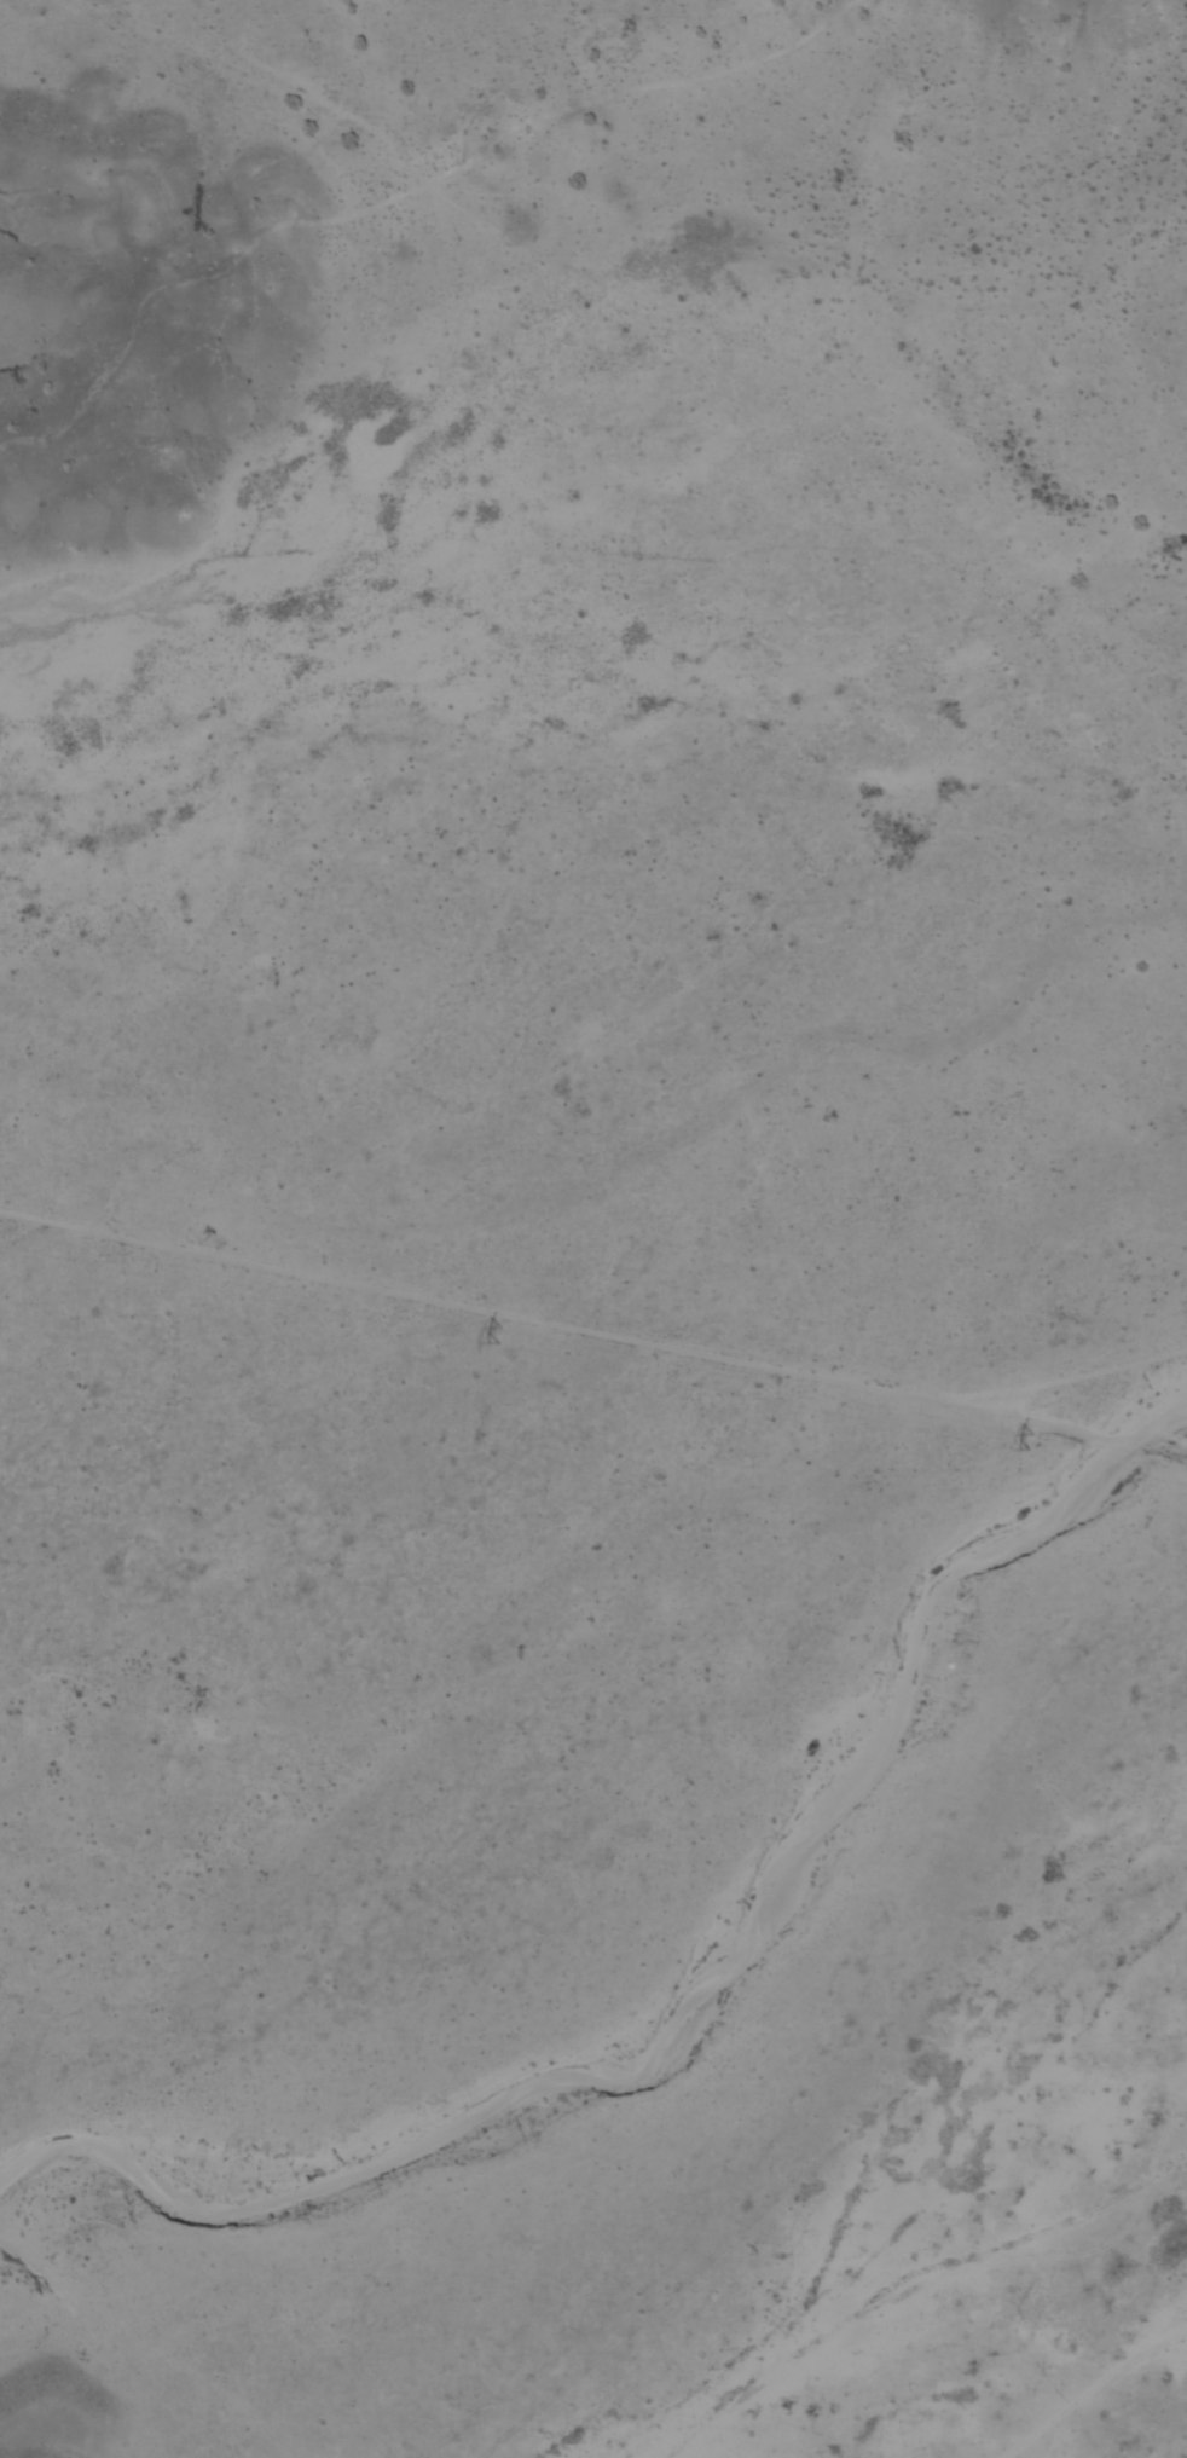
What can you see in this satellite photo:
power tower: (497, 1335)
power tower: (1026, 1442)

